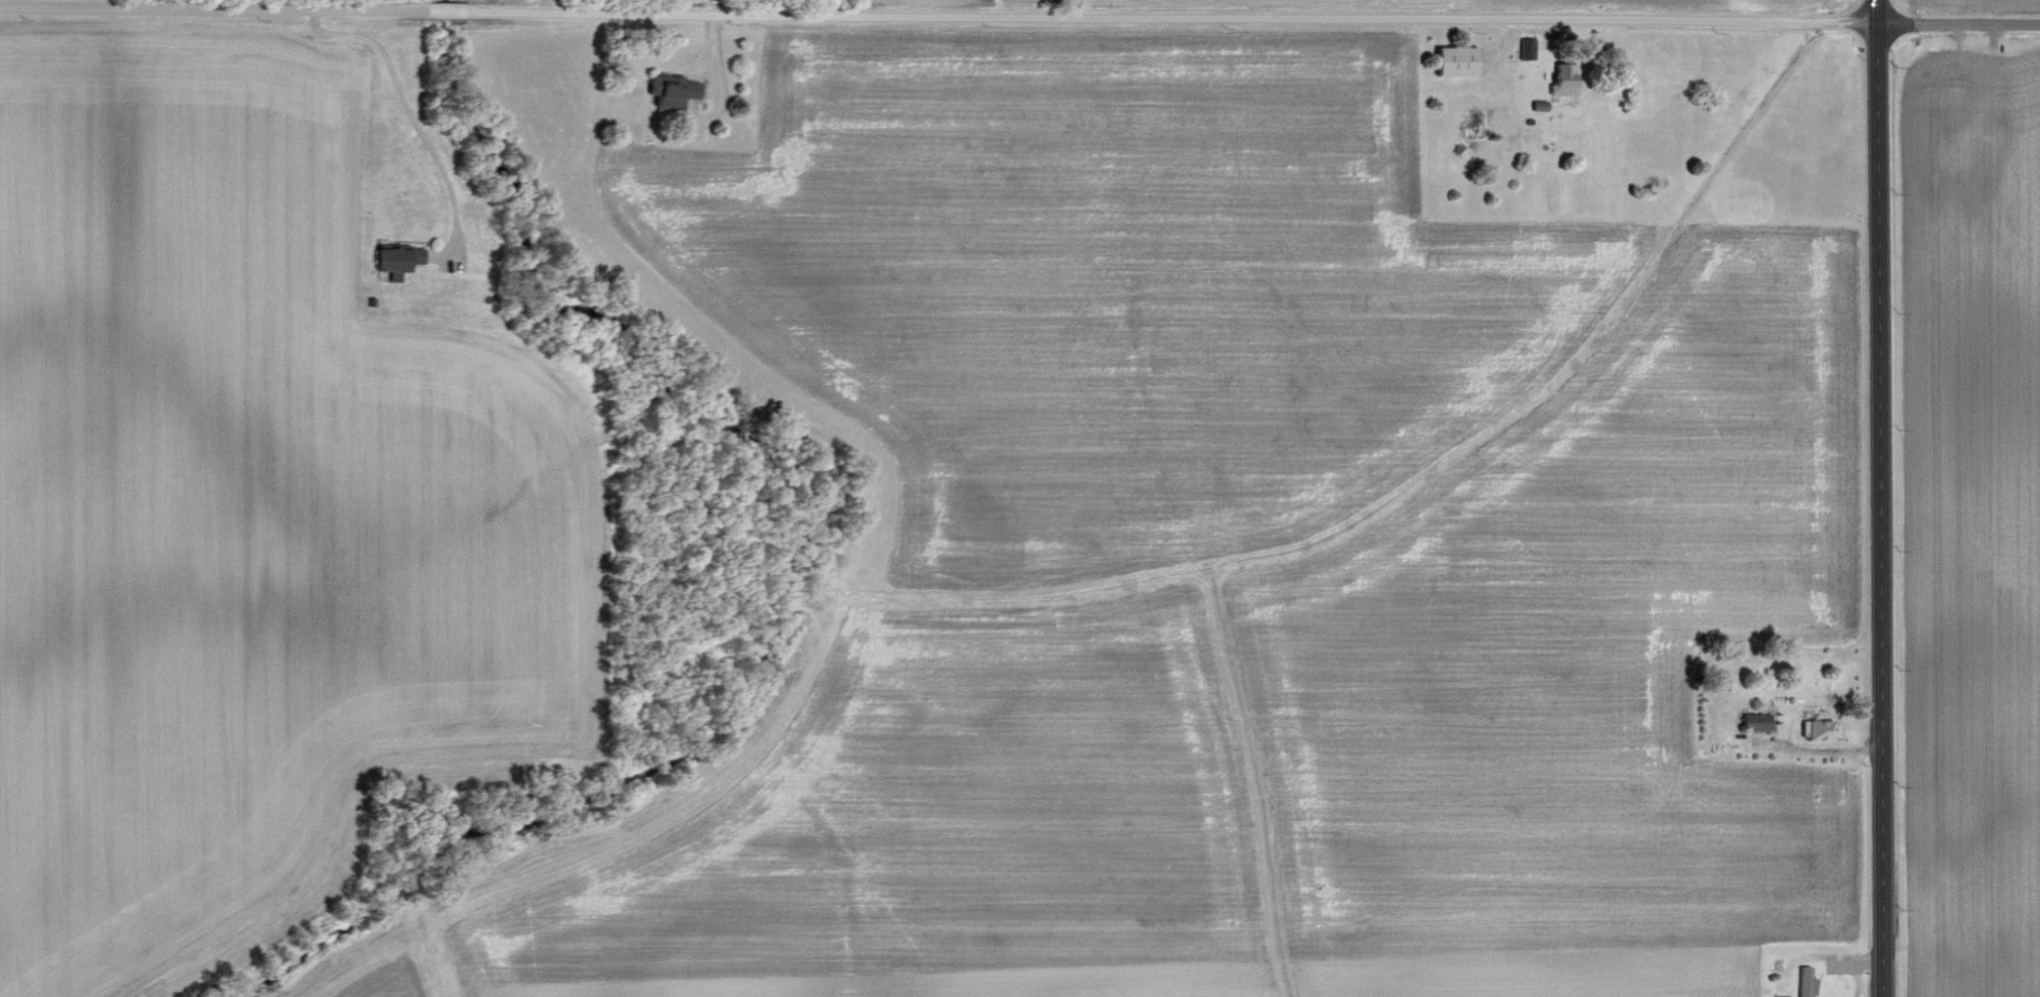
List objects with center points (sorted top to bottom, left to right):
road: (937, 18)
road: (1958, 23)
building: (1525, 49)
building: (1455, 61)
building: (1562, 80)
road: (713, 82)
building: (670, 91)
road: (410, 114)
building: (395, 259)
road: (1879, 498)
building: (1754, 721)
building: (1818, 729)
building: (1802, 987)

